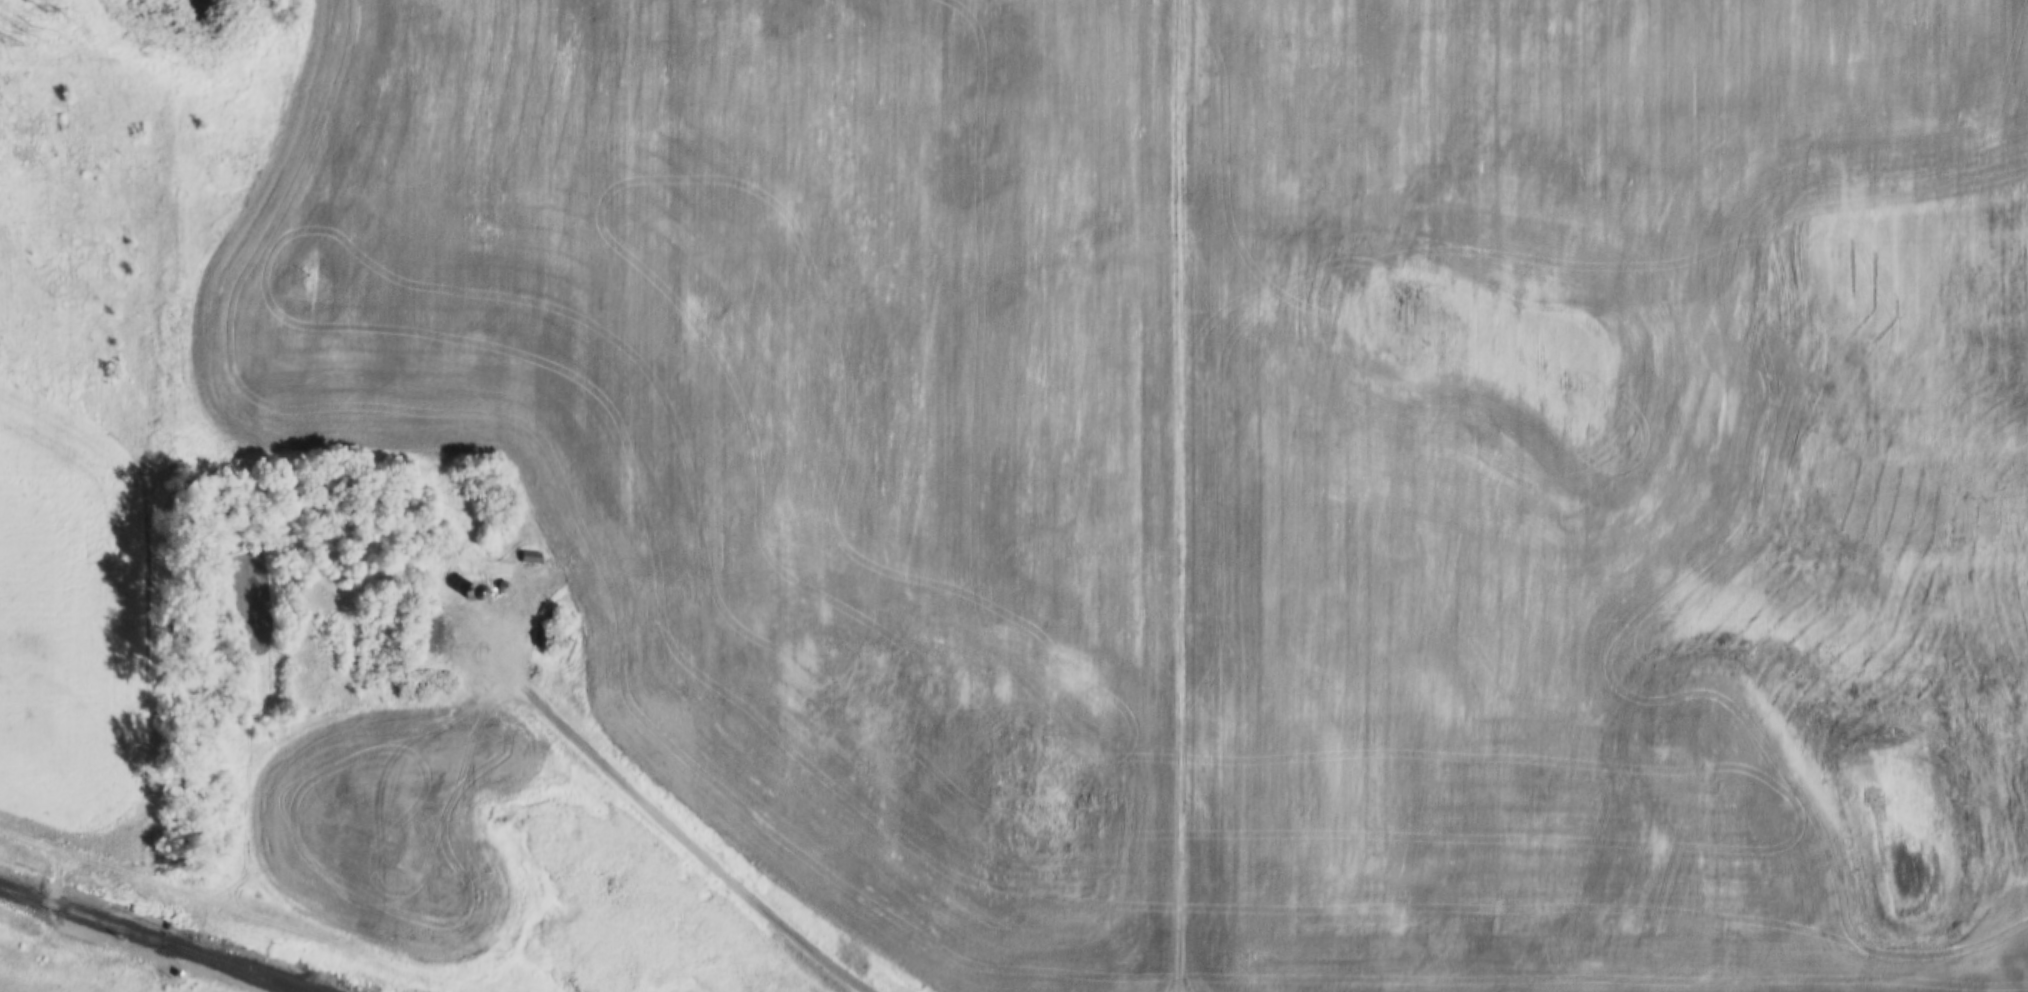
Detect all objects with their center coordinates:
building: (525, 557)
road: (700, 844)
storage tank: (135, 891)
storage tank: (133, 896)
storage tank: (131, 901)
railway: (154, 939)
building: (170, 963)
railway: (227, 968)

